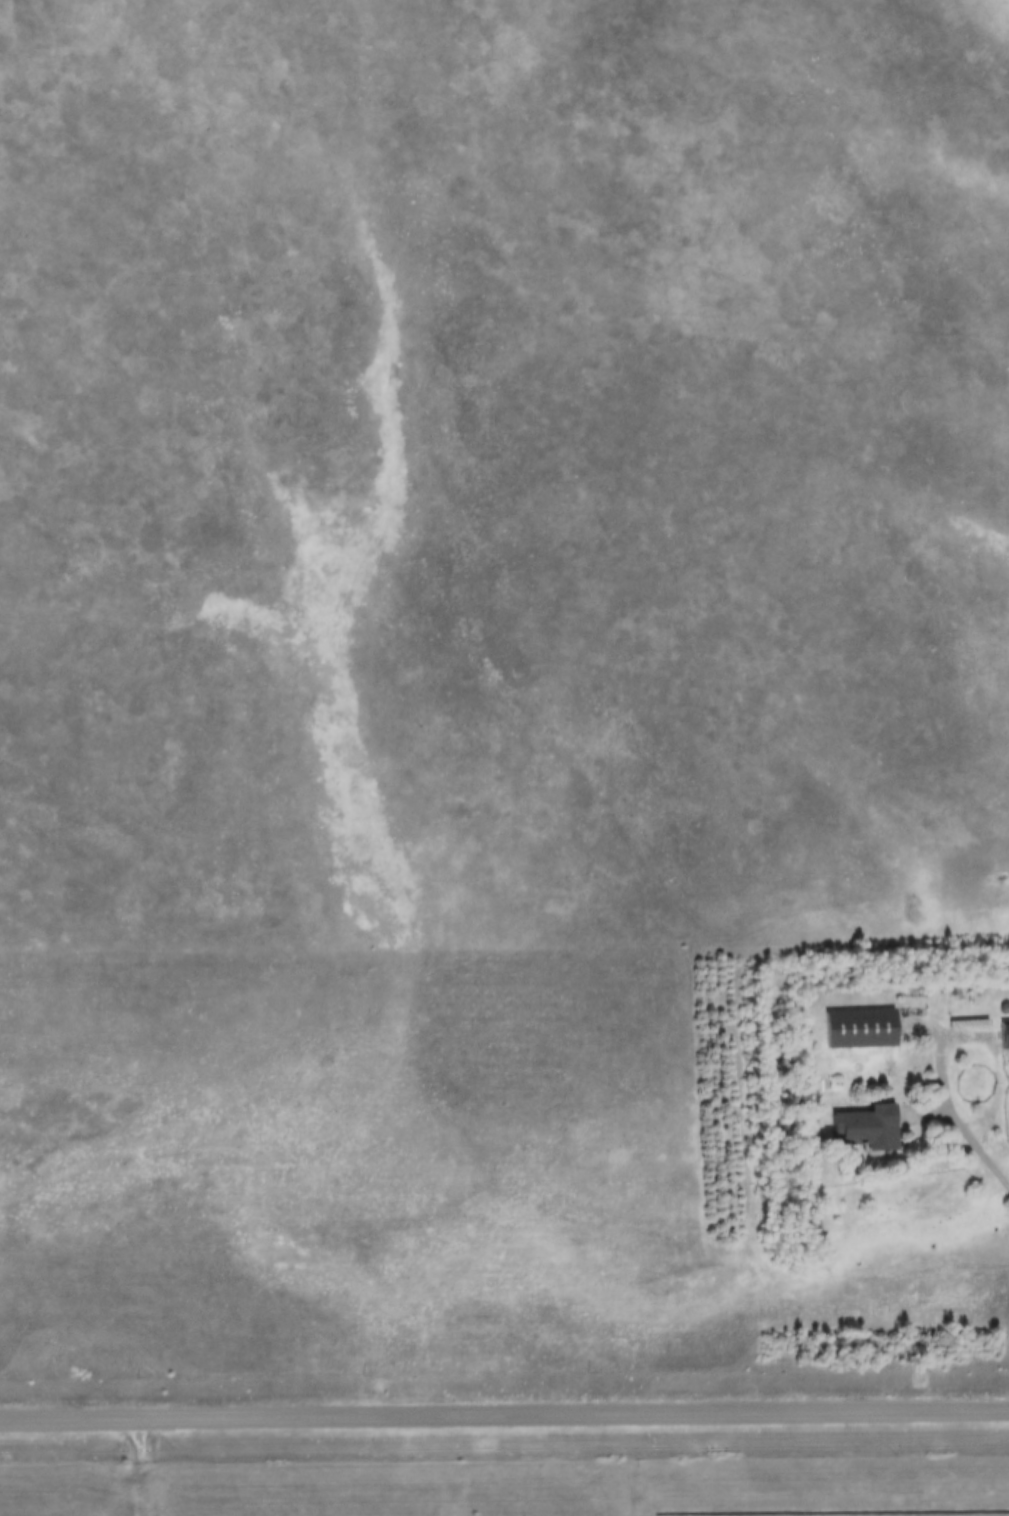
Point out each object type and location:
building: (859, 1030)
building: (1003, 1035)
road: (968, 1039)
building: (870, 1127)
road: (992, 1170)
road: (504, 1419)
road: (135, 1469)

